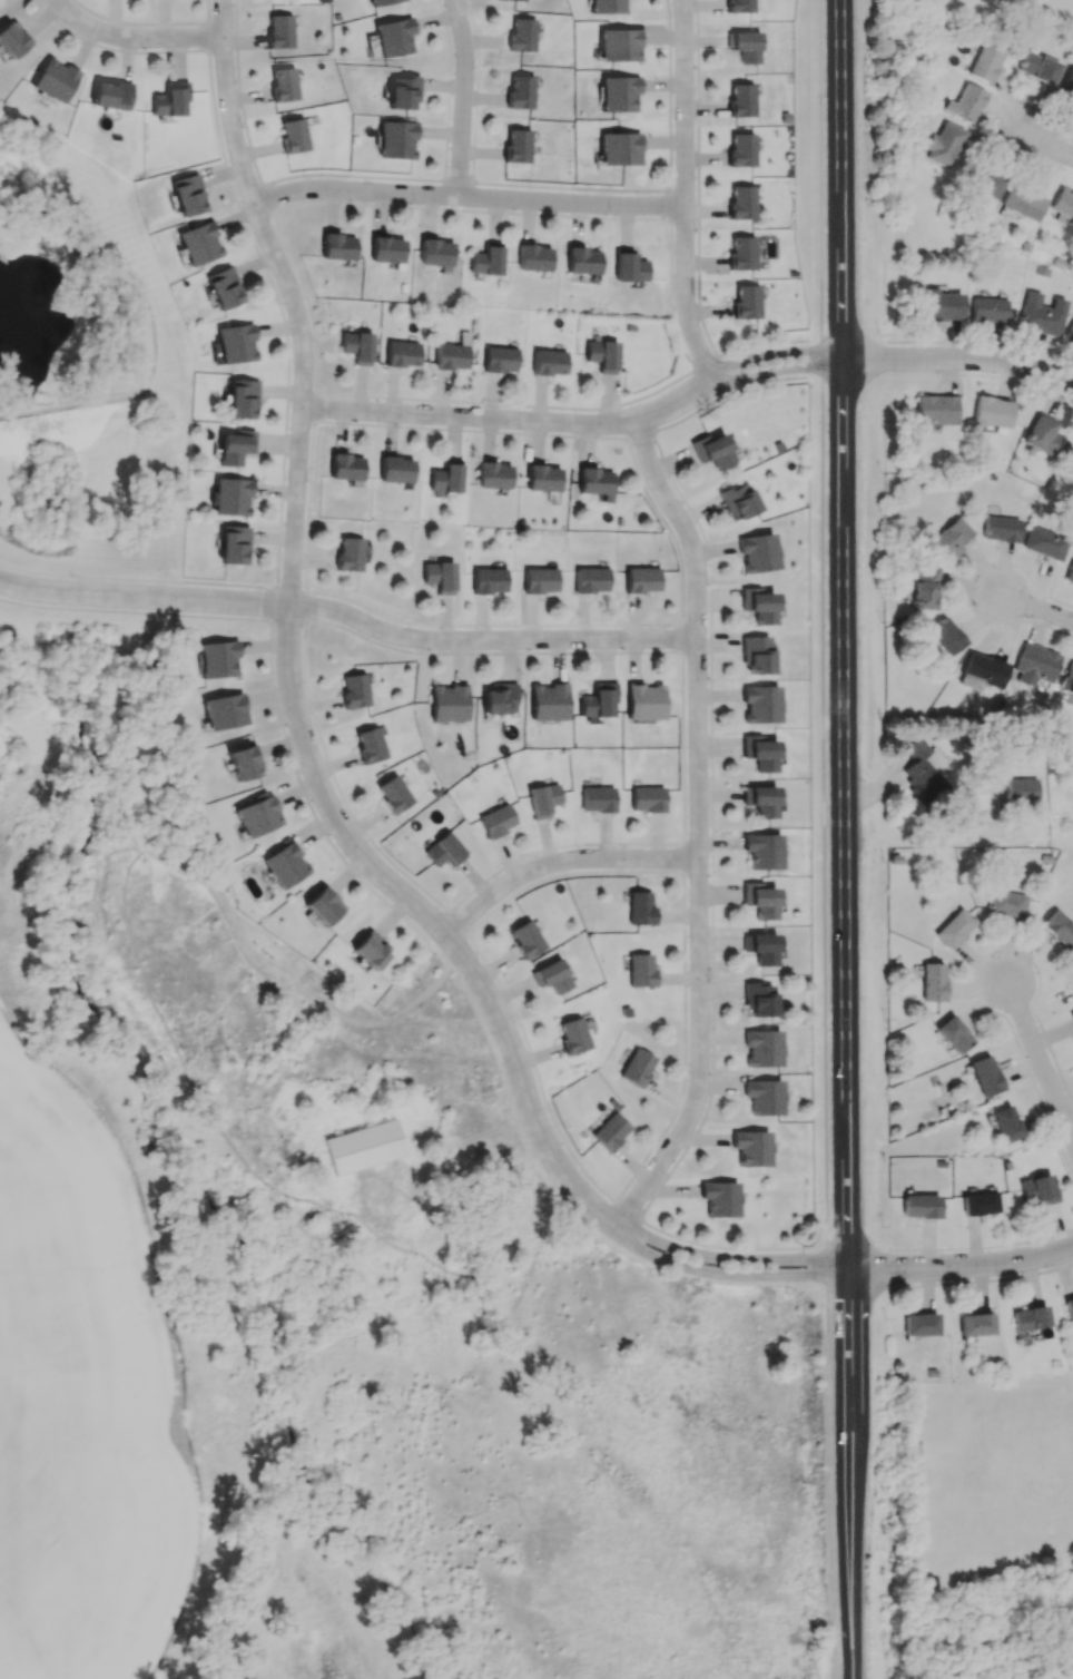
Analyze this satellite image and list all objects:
building: (515, 0)
building: (381, 2)
building: (608, 6)
building: (740, 7)
road: (142, 22)
road: (137, 29)
building: (278, 31)
building: (393, 35)
building: (523, 35)
building: (12, 38)
building: (620, 43)
building: (746, 45)
road: (115, 48)
building: (986, 62)
building: (1038, 67)
building: (55, 79)
building: (1067, 81)
building: (282, 84)
road: (449, 89)
road: (476, 90)
building: (403, 91)
building: (521, 91)
building: (619, 92)
road: (240, 94)
building: (112, 95)
road: (669, 95)
road: (463, 96)
building: (169, 99)
building: (741, 99)
building: (965, 102)
building: (293, 136)
building: (396, 139)
building: (944, 144)
road: (1047, 145)
building: (518, 147)
building: (620, 149)
building: (741, 149)
road: (820, 168)
road: (352, 175)
road: (697, 179)
road: (457, 181)
building: (983, 181)
road: (570, 186)
road: (683, 193)
building: (185, 195)
road: (466, 195)
road: (266, 198)
building: (741, 202)
building: (1022, 203)
road: (669, 205)
building: (1062, 205)
road: (470, 209)
road: (258, 215)
road: (685, 217)
building: (197, 244)
building: (337, 246)
building: (386, 249)
building: (435, 252)
building: (741, 252)
building: (533, 257)
building: (486, 261)
building: (581, 261)
building: (629, 267)
building: (222, 288)
road: (274, 289)
road: (672, 296)
road: (305, 298)
building: (747, 301)
building: (942, 304)
building: (987, 310)
building: (1041, 314)
road: (154, 331)
building: (1070, 334)
building: (235, 344)
building: (357, 345)
road: (761, 345)
building: (402, 353)
road: (774, 353)
building: (602, 354)
building: (452, 355)
building: (499, 357)
road: (821, 357)
road: (958, 361)
building: (548, 362)
road: (706, 363)
park: (86, 366)
road: (777, 370)
road: (301, 390)
road: (726, 395)
building: (240, 400)
road: (506, 403)
road: (314, 405)
building: (935, 409)
building: (991, 412)
road: (513, 416)
road: (618, 421)
road: (469, 431)
road: (640, 433)
building: (1043, 436)
building: (235, 449)
building: (713, 453)
building: (346, 469)
building: (395, 471)
building: (447, 477)
building: (493, 477)
building: (542, 478)
building: (595, 482)
building: (229, 495)
building: (737, 501)
road: (308, 504)
road: (666, 527)
building: (1001, 529)
building: (951, 537)
building: (232, 541)
building: (1044, 542)
building: (348, 552)
building: (757, 552)
building: (1070, 573)
building: (440, 575)
building: (591, 577)
building: (489, 578)
building: (540, 578)
building: (642, 578)
road: (137, 579)
building: (925, 586)
road: (291, 589)
road: (273, 605)
road: (305, 605)
building: (757, 605)
road: (1038, 610)
road: (134, 612)
road: (346, 612)
road: (287, 619)
road: (491, 624)
road: (841, 631)
building: (945, 636)
road: (682, 637)
road: (490, 651)
road: (696, 651)
building: (755, 654)
building: (216, 659)
building: (1035, 664)
road: (294, 666)
building: (983, 669)
building: (1069, 679)
building: (355, 690)
building: (500, 699)
building: (597, 699)
building: (643, 700)
building: (447, 701)
building: (548, 701)
building: (760, 703)
building: (224, 710)
building: (368, 745)
building: (759, 752)
building: (243, 764)
building: (922, 768)
road: (336, 785)
building: (1022, 789)
building: (393, 792)
building: (648, 795)
building: (598, 796)
building: (543, 797)
road: (307, 799)
building: (760, 801)
road: (823, 809)
building: (257, 817)
building: (495, 818)
road: (695, 824)
road: (918, 841)
road: (650, 843)
road: (697, 843)
building: (444, 848)
building: (762, 851)
road: (682, 857)
road: (559, 863)
building: (285, 865)
building: (759, 900)
building: (1006, 904)
building: (323, 905)
building: (640, 906)
road: (456, 923)
road: (712, 923)
building: (954, 927)
building: (1059, 927)
building: (525, 939)
building: (761, 947)
building: (371, 950)
road: (486, 964)
building: (1070, 966)
building: (640, 970)
building: (551, 975)
building: (932, 981)
building: (758, 998)
building: (1072, 1015)
building: (571, 1034)
building: (953, 1034)
road: (685, 1047)
building: (762, 1048)
road: (1041, 1059)
building: (637, 1066)
building: (985, 1076)
building: (764, 1097)
building: (1005, 1123)
building: (611, 1130)
building: (364, 1146)
building: (752, 1148)
building: (1036, 1189)
building: (720, 1199)
building: (978, 1202)
building: (919, 1206)
road: (627, 1209)
road: (715, 1255)
road: (824, 1256)
road: (823, 1264)
road: (959, 1270)
road: (731, 1274)
building: (1069, 1310)
building: (1030, 1317)
building: (919, 1324)
building: (975, 1324)
road: (846, 1396)
crop: (80, 1404)
road: (828, 1483)
road: (849, 1603)

